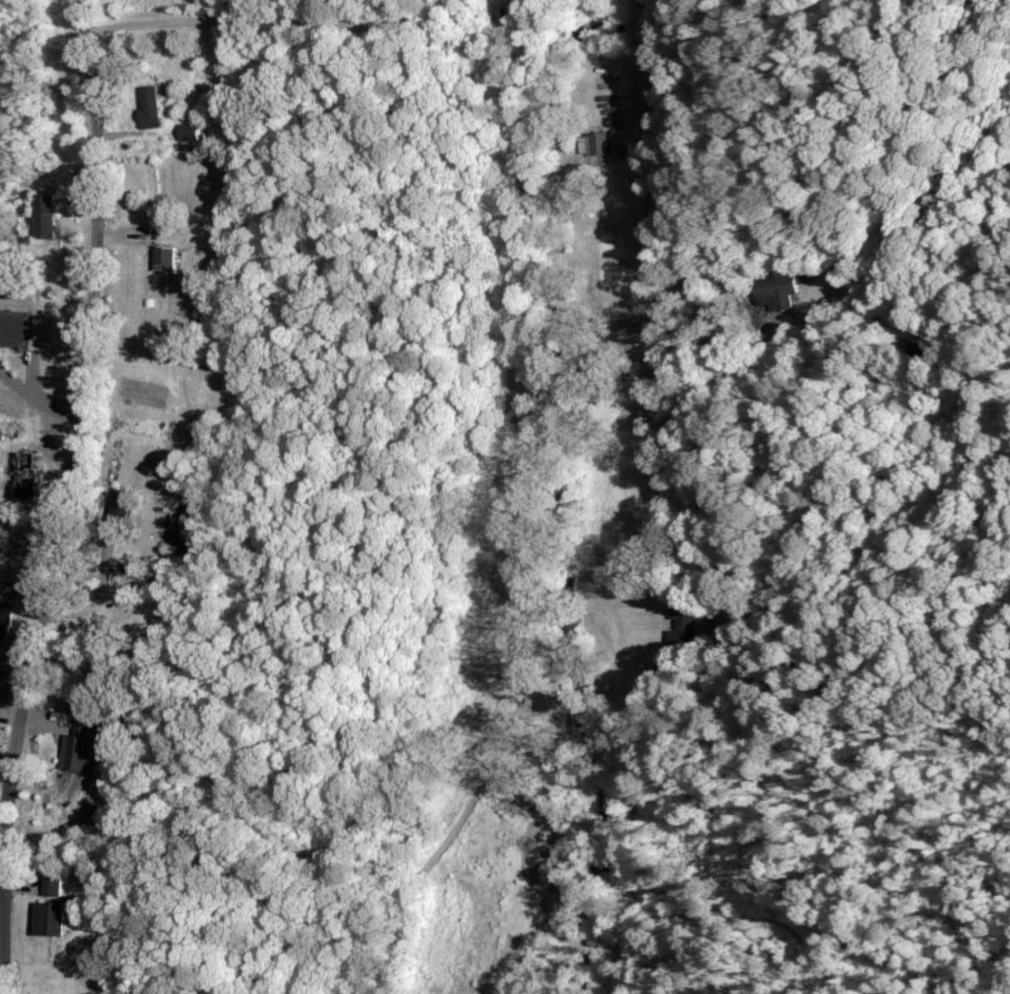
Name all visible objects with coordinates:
road: (252, 16)
building: (147, 105)
building: (190, 131)
building: (597, 142)
building: (41, 214)
building: (162, 257)
building: (774, 290)
building: (11, 327)
road: (528, 438)
road: (72, 498)
building: (4, 618)
building: (683, 619)
building: (79, 745)
road: (188, 746)
road: (433, 857)
building: (50, 884)
building: (47, 918)

